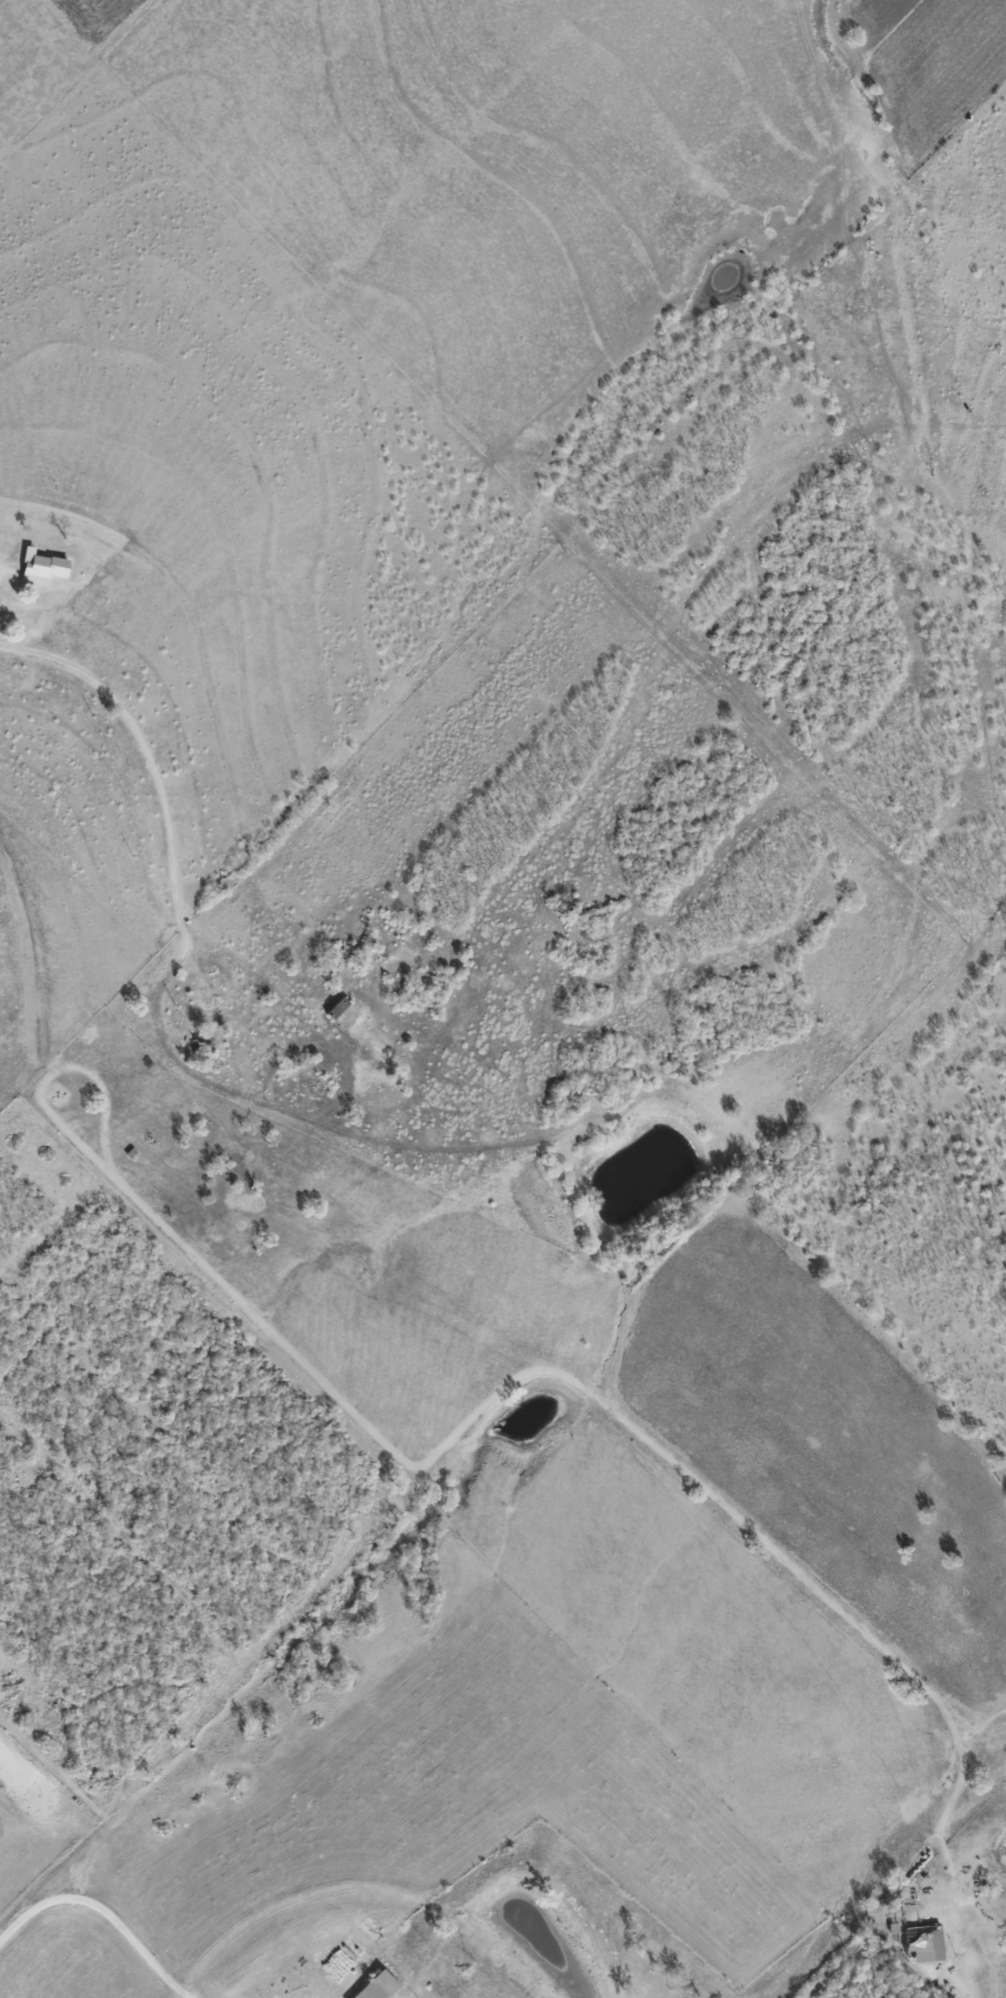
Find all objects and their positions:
building: (40, 568)
building: (340, 1013)
road: (55, 1068)
road: (641, 1439)
road: (99, 1919)
building: (924, 1944)
building: (376, 1986)

